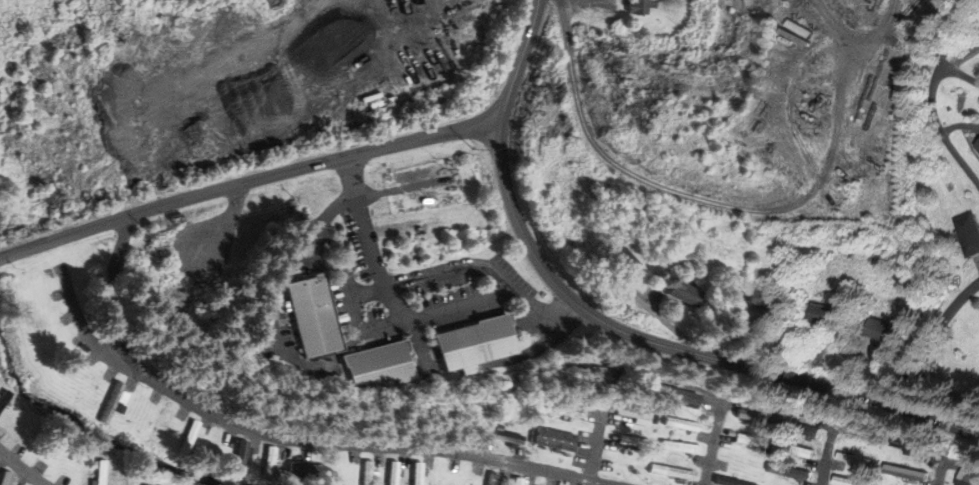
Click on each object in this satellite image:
building: (640, 6)
road: (907, 8)
road: (957, 25)
road: (891, 40)
road: (521, 62)
road: (959, 74)
power tower: (620, 75)
building: (136, 84)
quarry: (757, 108)
road: (937, 124)
building: (978, 146)
road: (249, 182)
road: (714, 203)
parking lot: (319, 233)
building: (968, 233)
building: (622, 260)
parking lot: (344, 273)
parking lot: (514, 274)
road: (424, 277)
parking lot: (443, 289)
road: (509, 293)
building: (684, 293)
building: (757, 295)
road: (461, 306)
building: (823, 314)
building: (311, 316)
parking lot: (463, 317)
parking lot: (342, 318)
road: (415, 318)
road: (659, 318)
building: (881, 329)
road: (367, 330)
road: (928, 338)
building: (472, 343)
road: (95, 344)
road: (678, 350)
building: (376, 367)
building: (581, 371)
road: (679, 383)
building: (83, 388)
building: (674, 393)
building: (4, 398)
building: (110, 402)
building: (104, 403)
building: (566, 411)
building: (632, 411)
building: (756, 416)
building: (681, 423)
building: (803, 428)
building: (189, 436)
building: (502, 436)
building: (555, 439)
road: (286, 440)
building: (634, 441)
road: (715, 441)
building: (752, 441)
building: (907, 445)
road: (597, 446)
building: (681, 447)
building: (797, 450)
building: (910, 453)
road: (826, 456)
building: (239, 457)
building: (854, 459)
building: (267, 463)
building: (262, 464)
road: (22, 468)
building: (306, 471)
building: (671, 472)
building: (789, 472)
building: (905, 472)
building: (99, 473)
building: (360, 473)
building: (366, 473)
building: (392, 473)
road: (939, 473)
building: (386, 474)
building: (412, 474)
building: (417, 474)
building: (969, 475)
building: (4, 478)
building: (486, 479)
building: (492, 479)
building: (516, 481)
building: (731, 481)
building: (849, 481)

